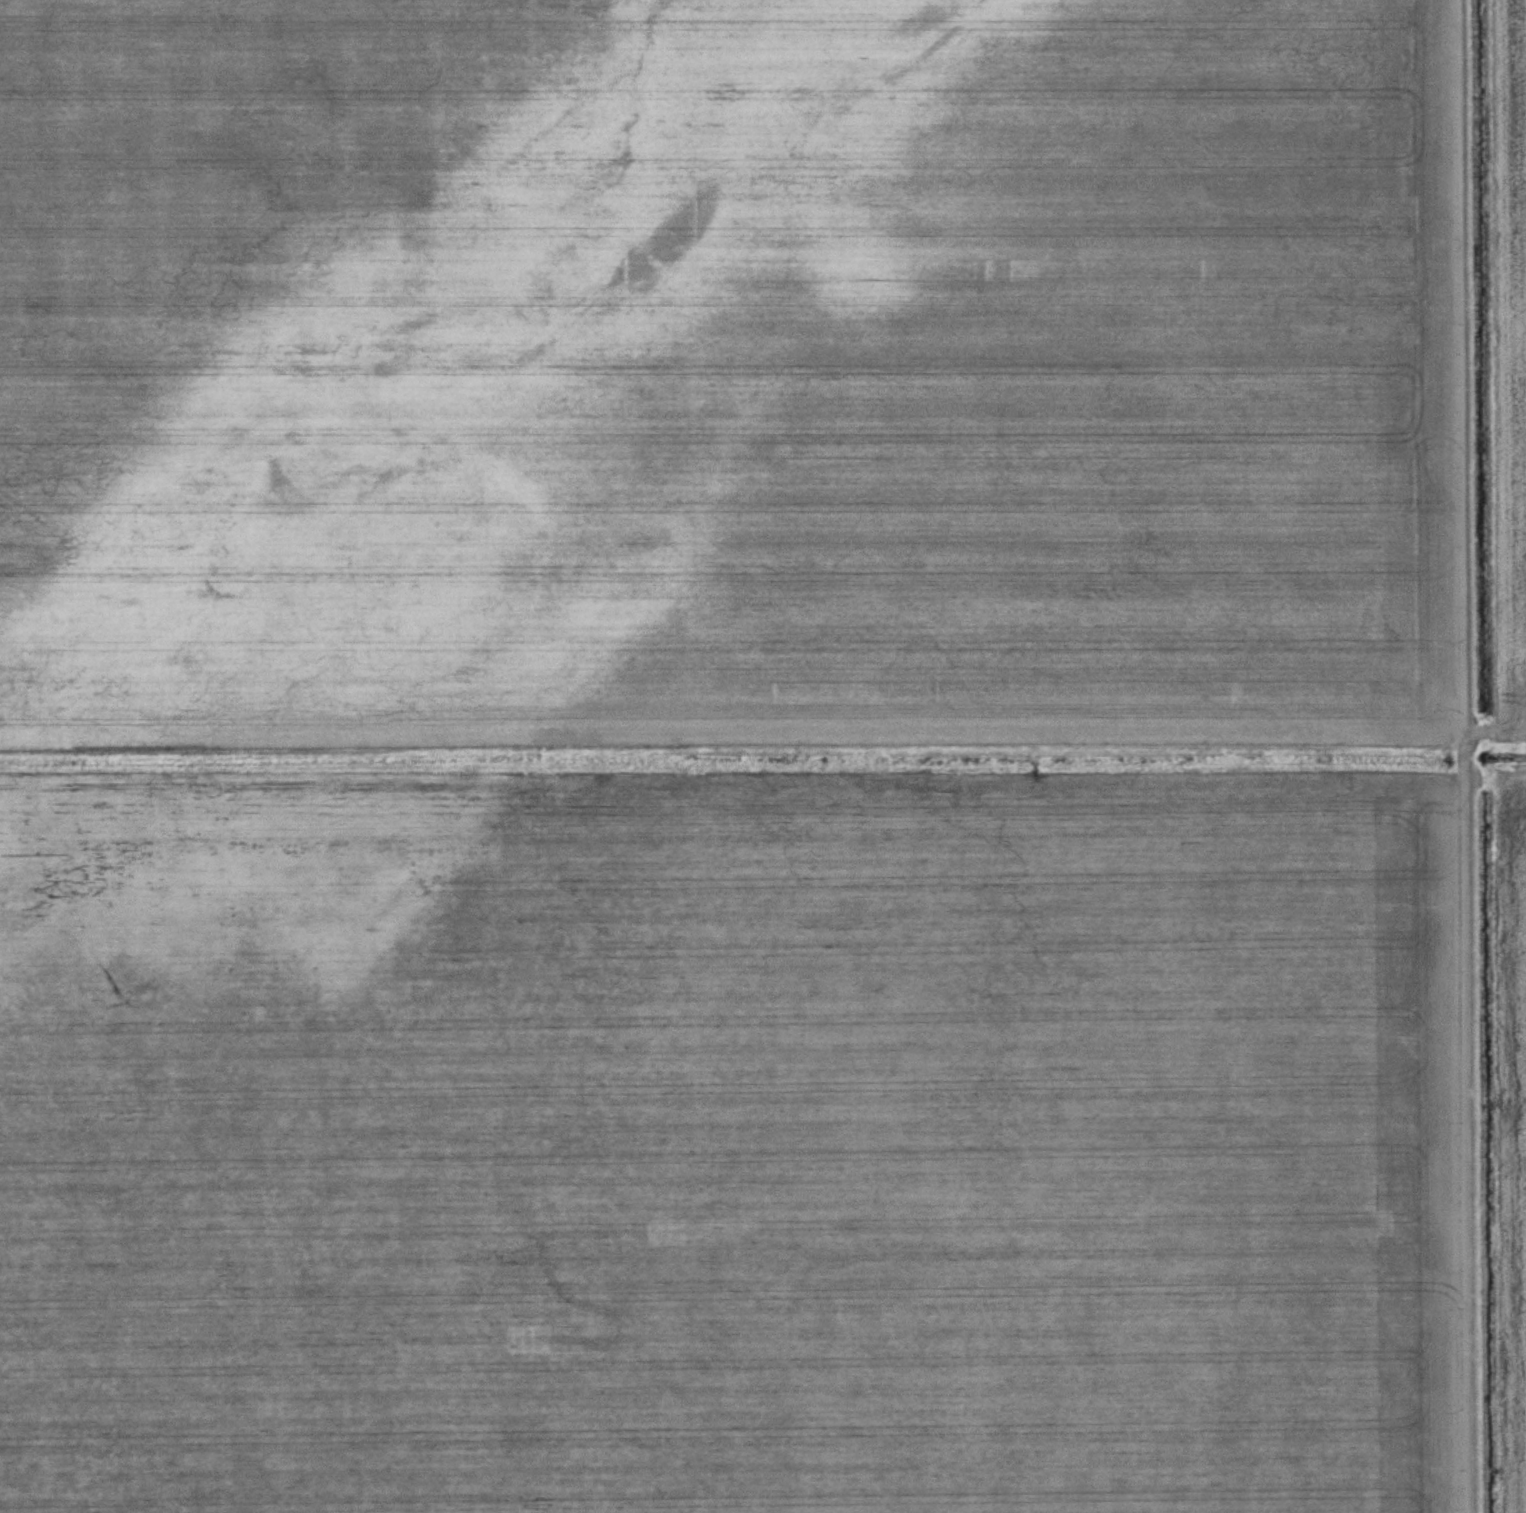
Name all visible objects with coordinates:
crop: (1510, 336)
road: (1461, 369)
crop: (724, 757)
road: (1468, 1126)
crop: (1512, 1133)

